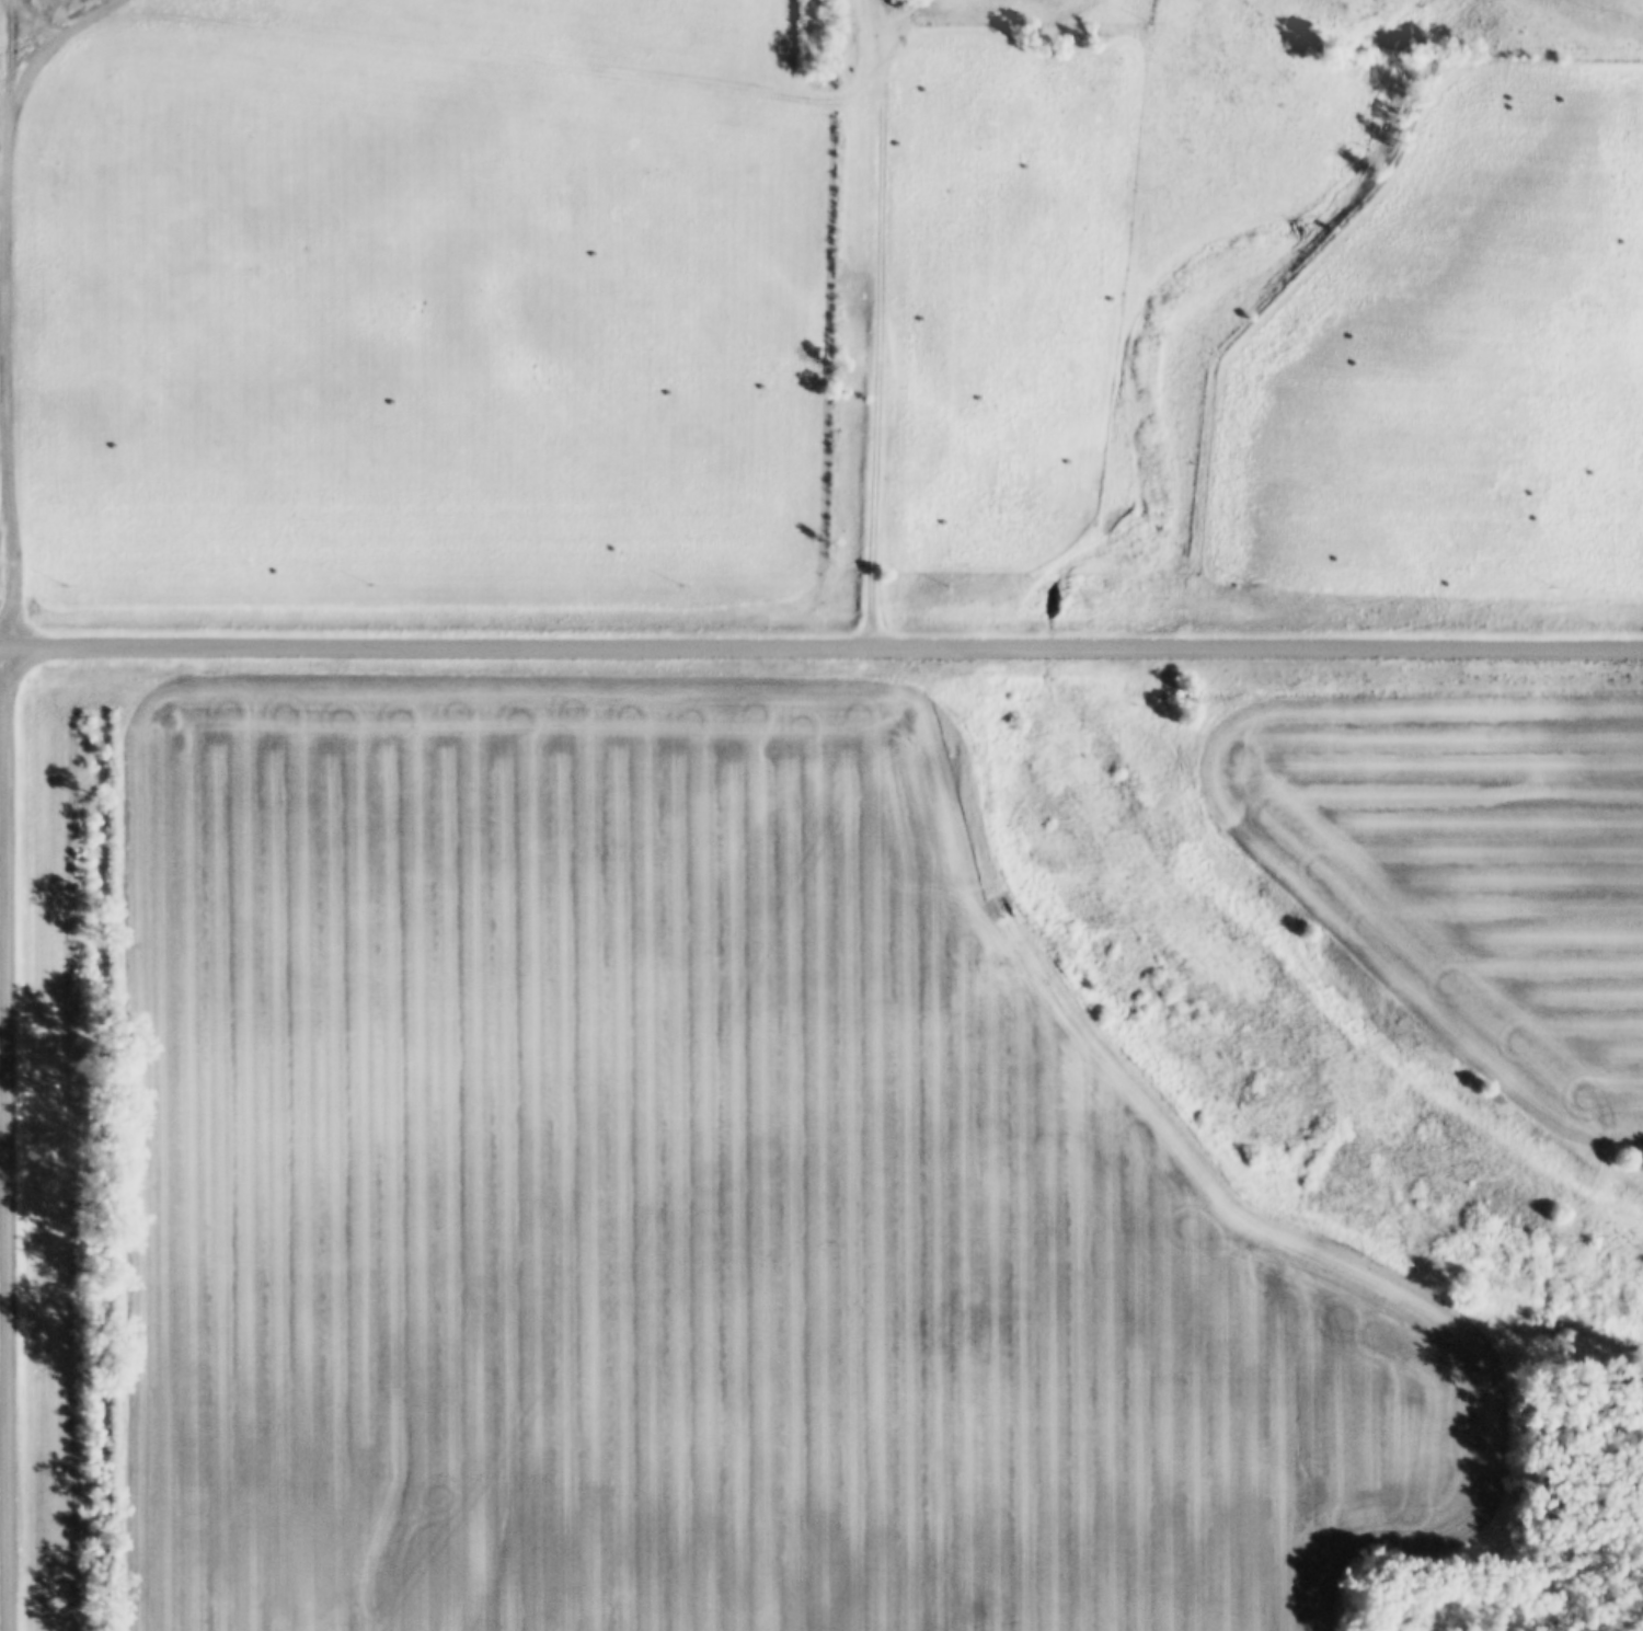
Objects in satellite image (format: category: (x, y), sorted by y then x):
quarry: (39, 34)
road: (8, 320)
road: (878, 366)
road: (821, 642)
road: (4, 1136)

